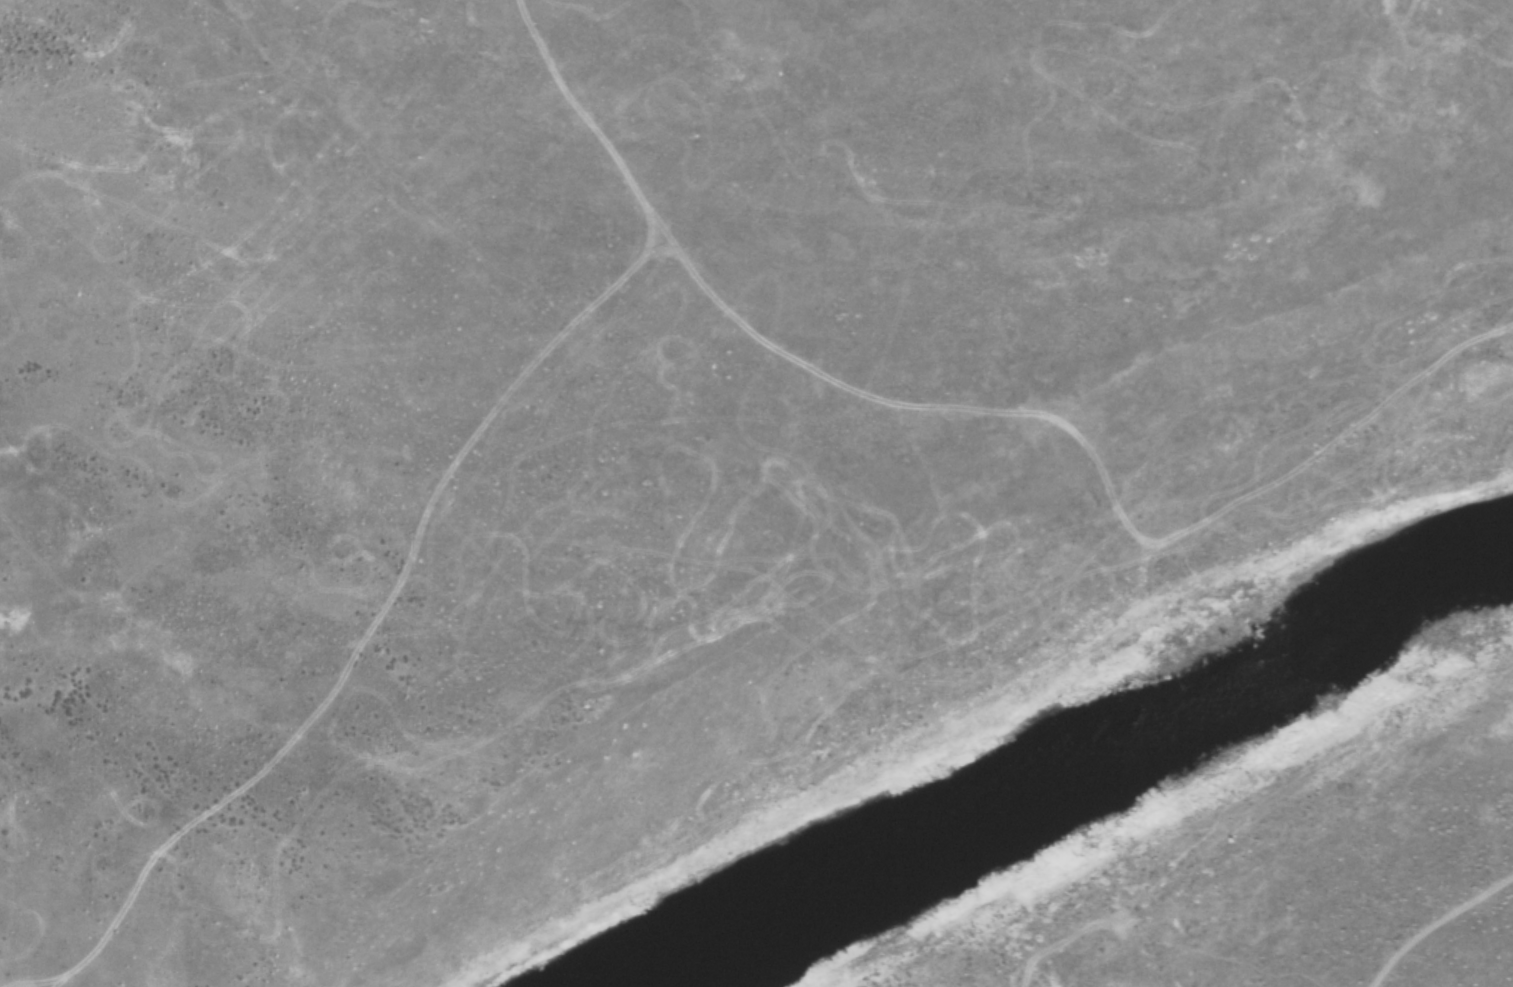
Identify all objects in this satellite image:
river: (1077, 783)
road: (1436, 925)

